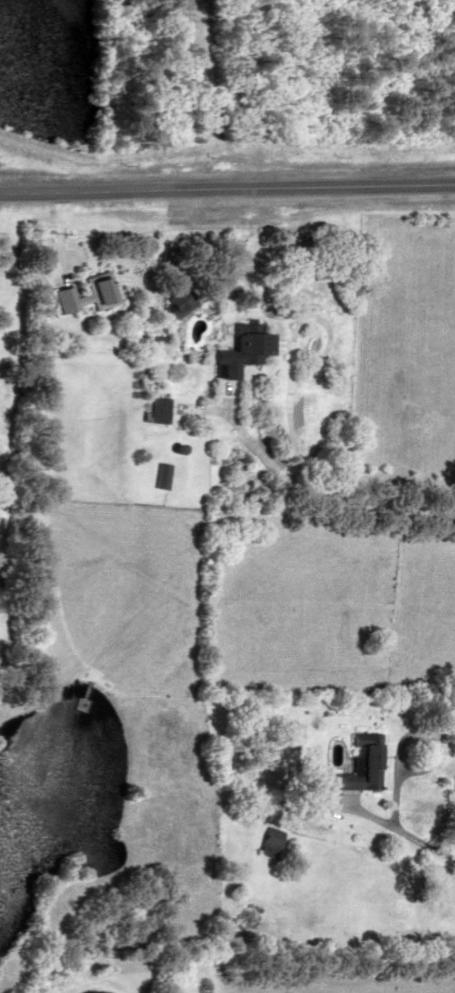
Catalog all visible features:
road: (227, 186)
building: (83, 293)
building: (172, 302)
road: (314, 316)
building: (235, 352)
building: (157, 410)
building: (159, 475)
road: (318, 509)
road: (425, 737)
building: (359, 763)
road: (401, 831)
building: (268, 840)

